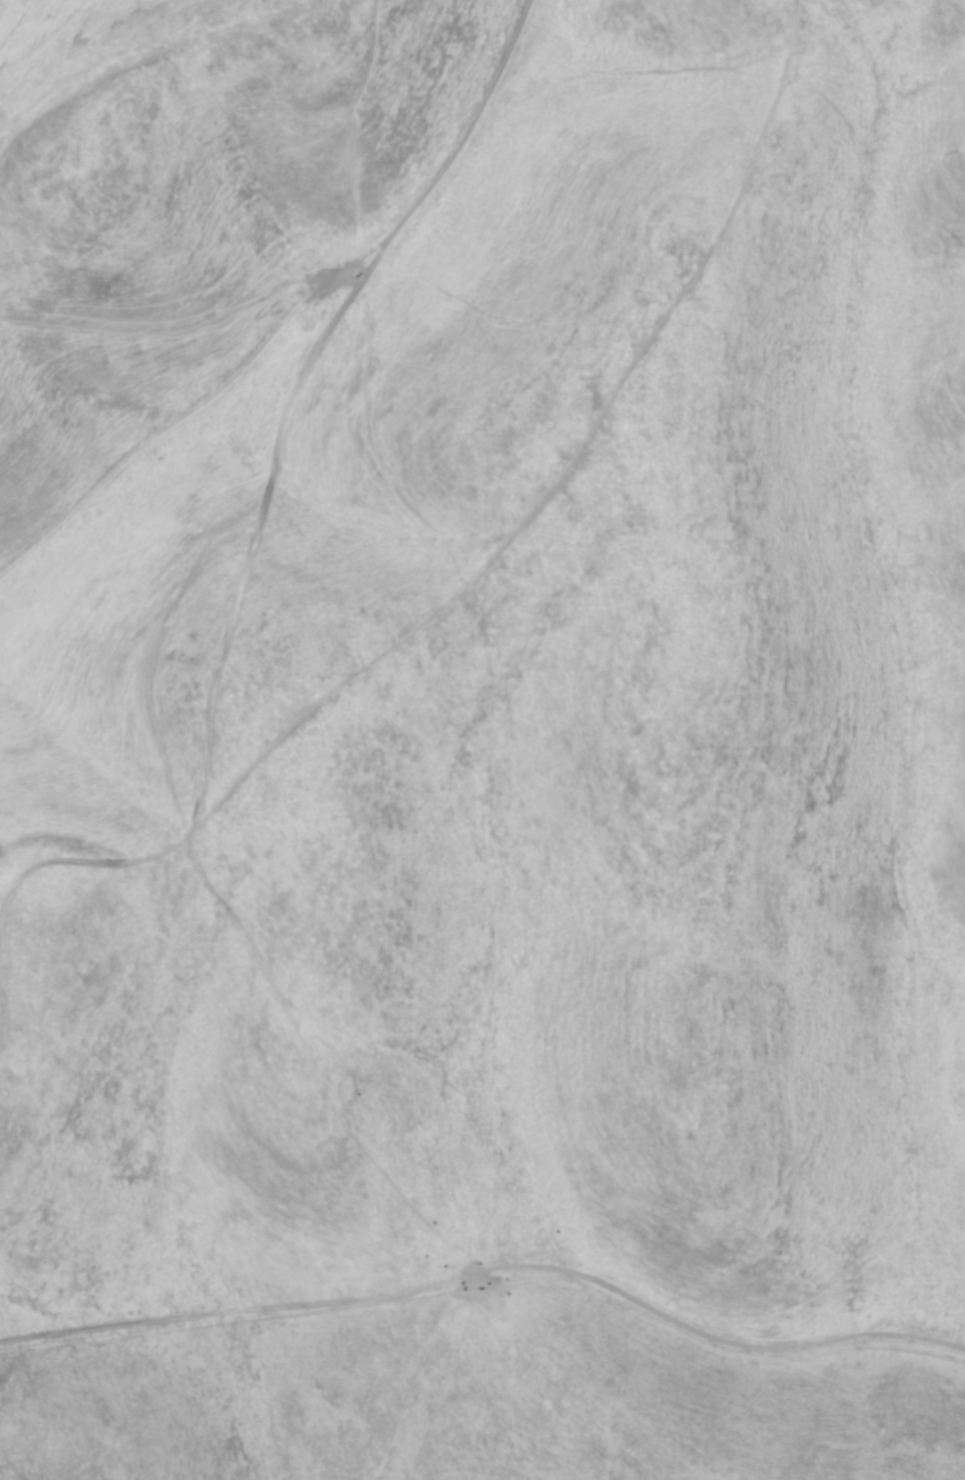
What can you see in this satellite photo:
road: (305, 329)

